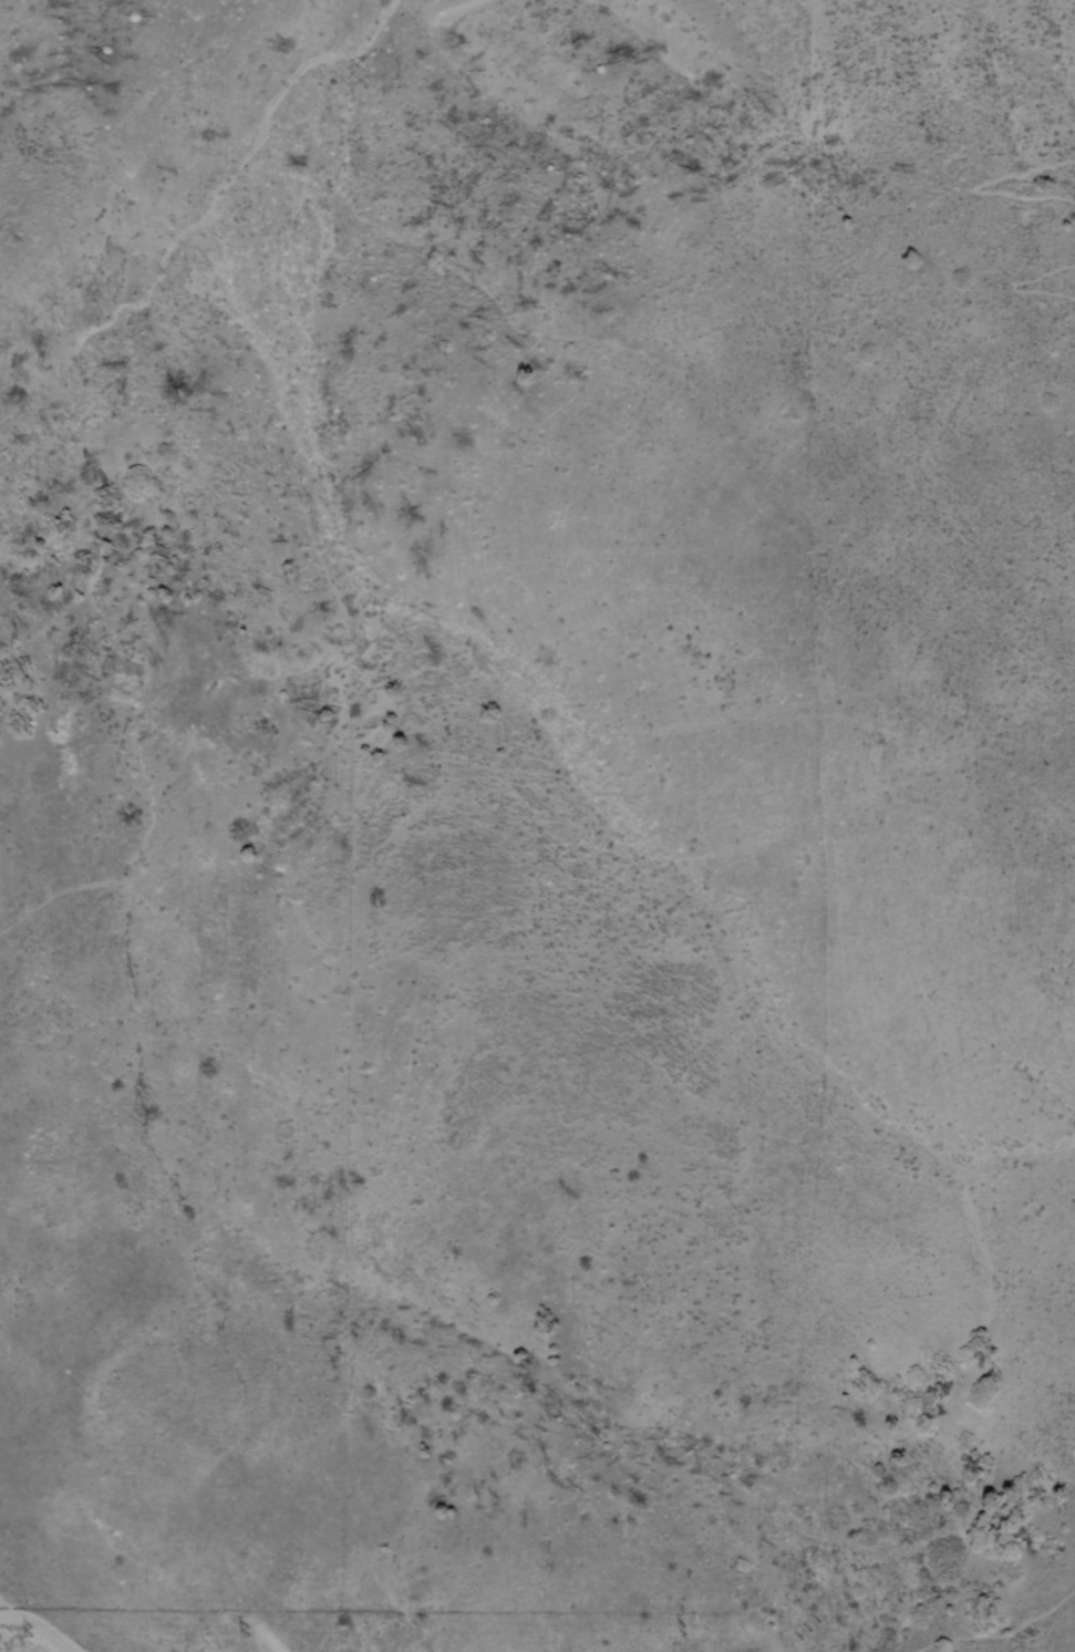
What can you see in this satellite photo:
road: (978, 192)
road: (1013, 289)
road: (990, 1633)
road: (775, 1645)

